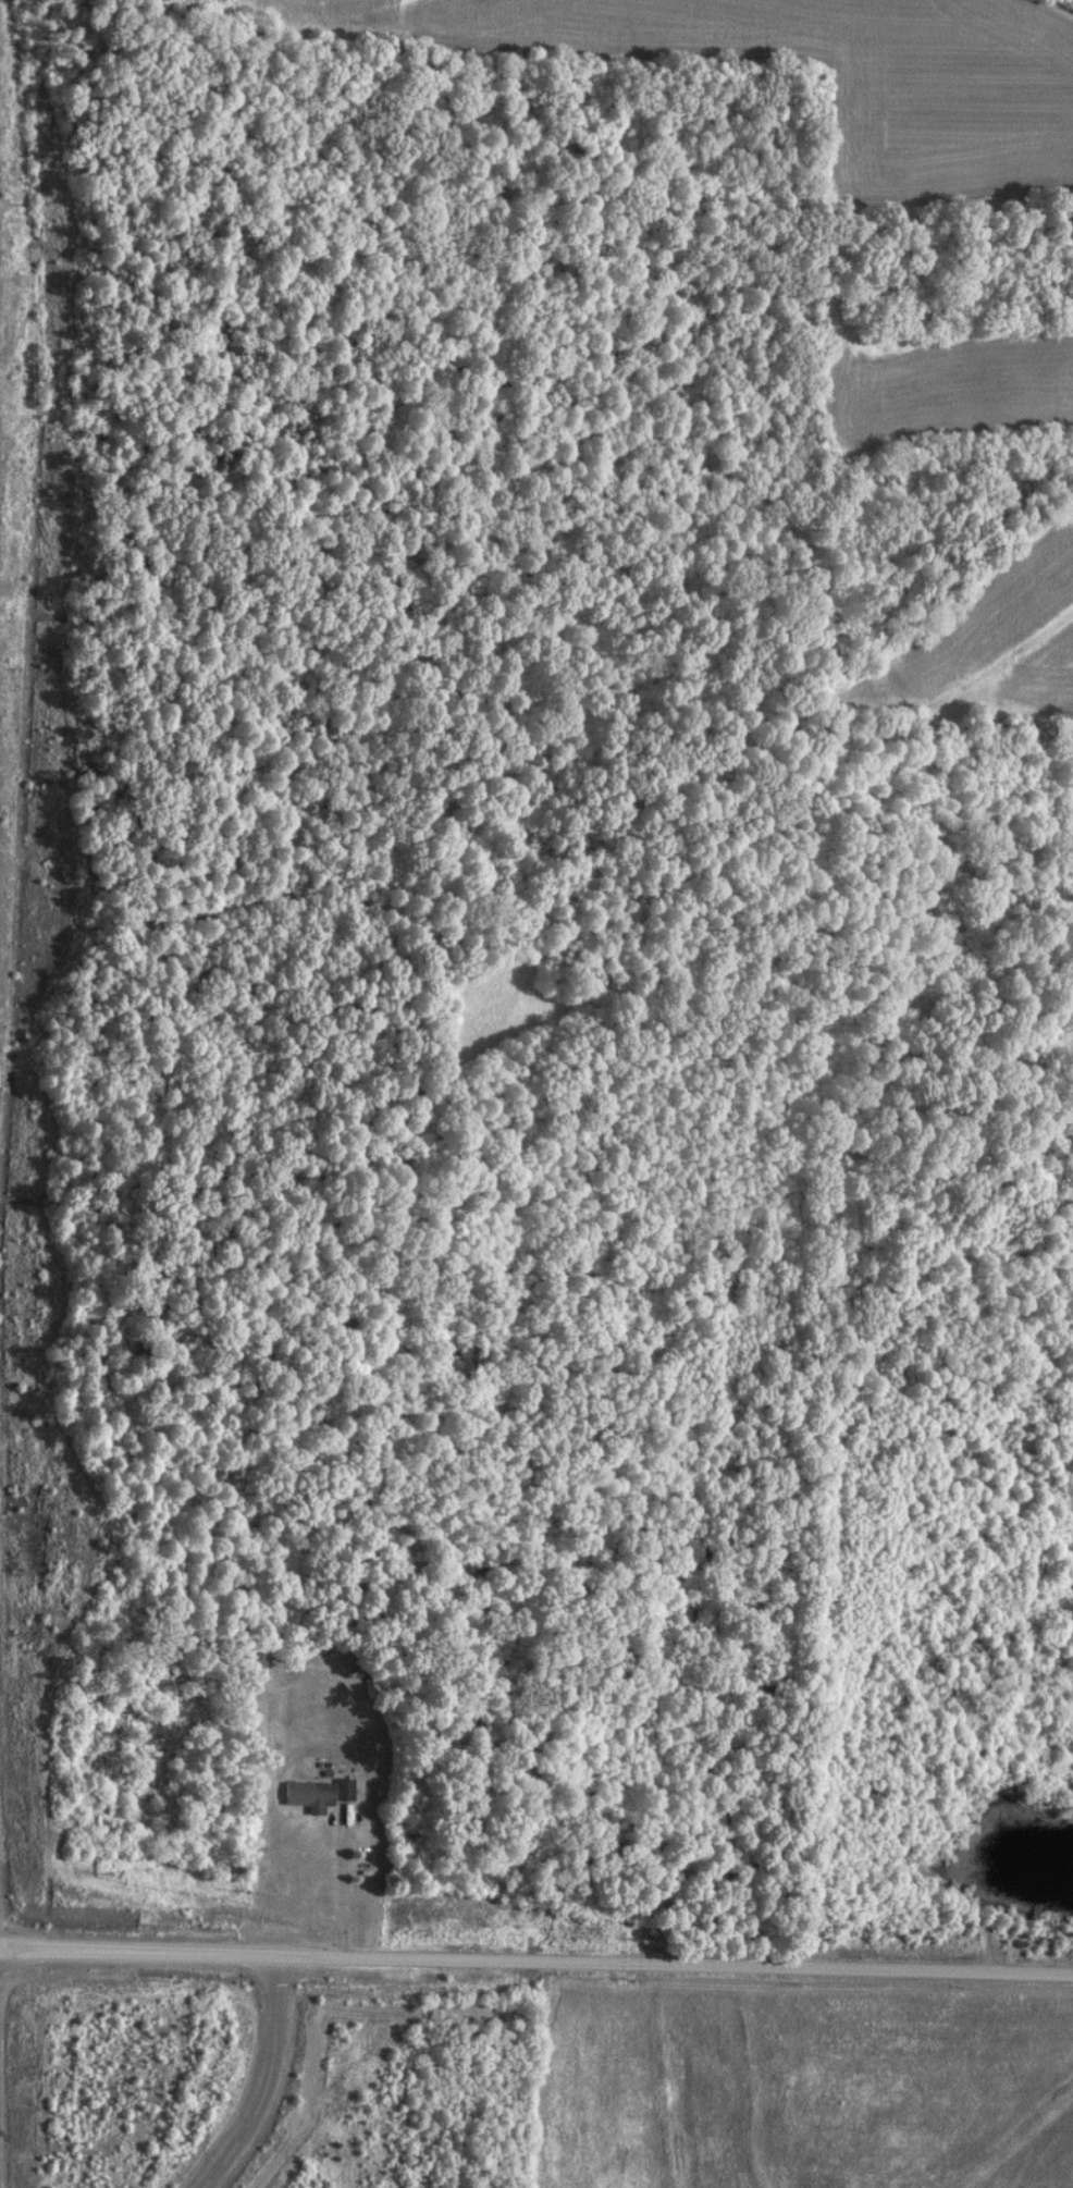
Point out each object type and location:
building: (338, 1791)
building: (304, 1797)
road: (342, 1891)
road: (535, 1964)
road: (262, 2080)

